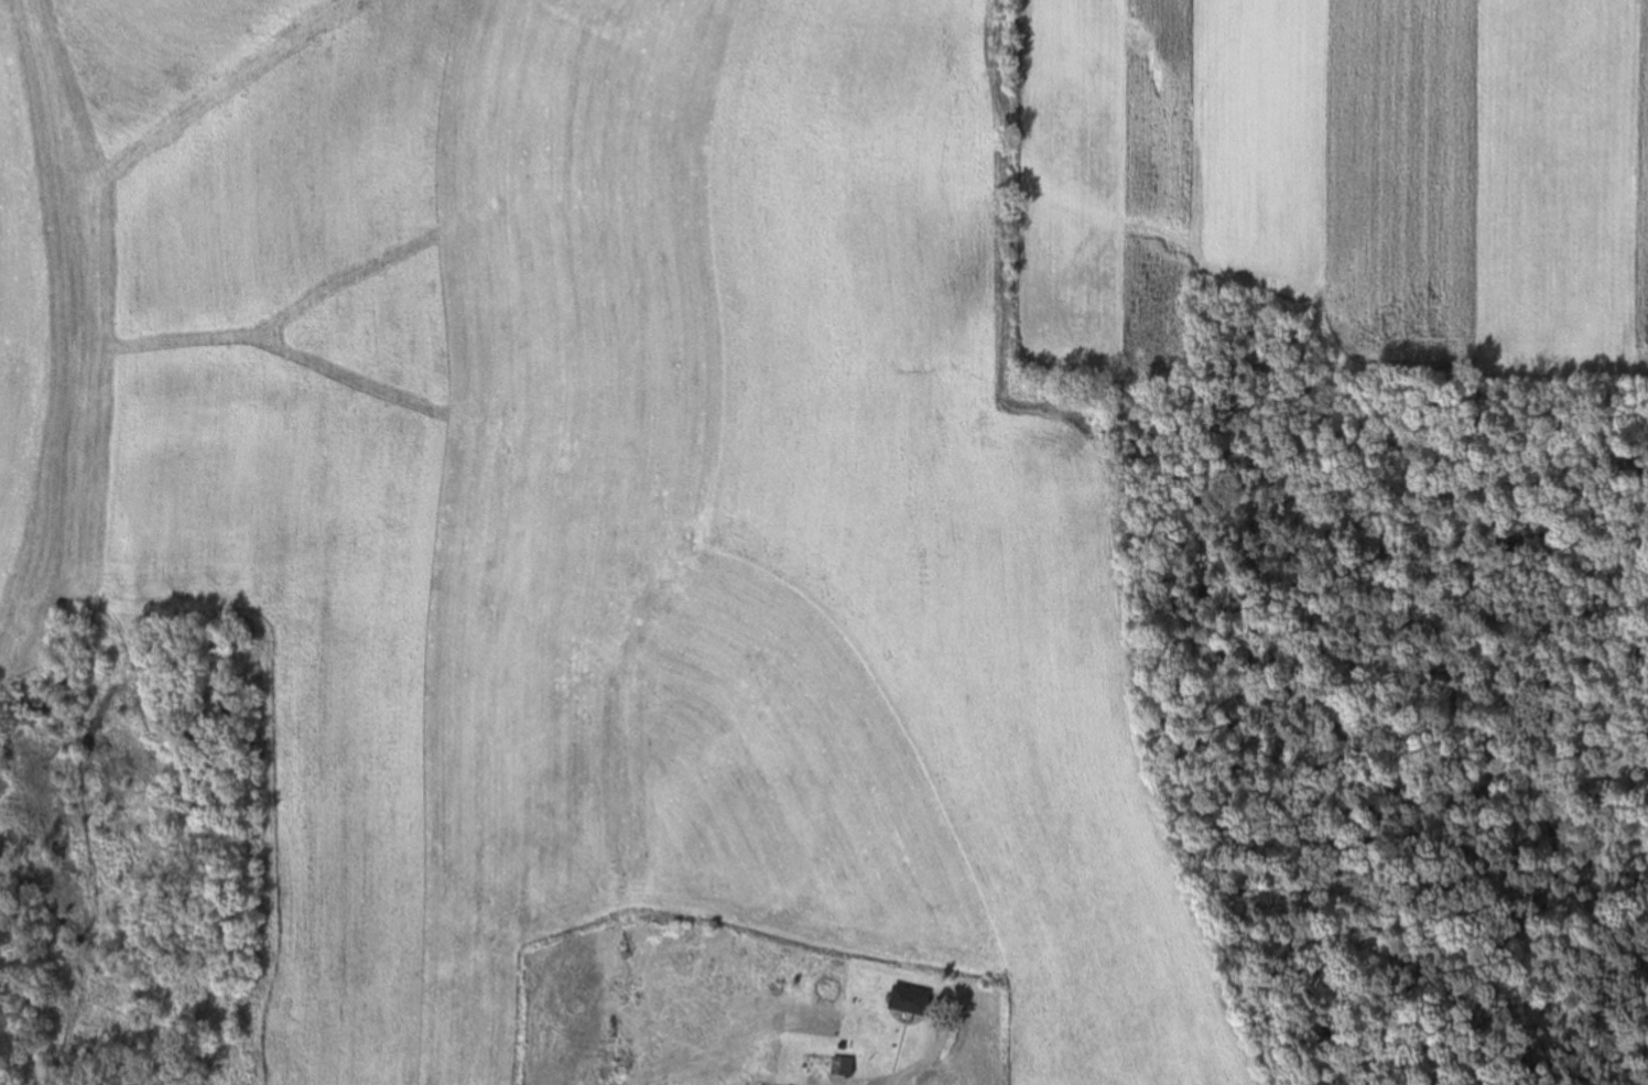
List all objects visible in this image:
building: (910, 999)
building: (831, 1064)

